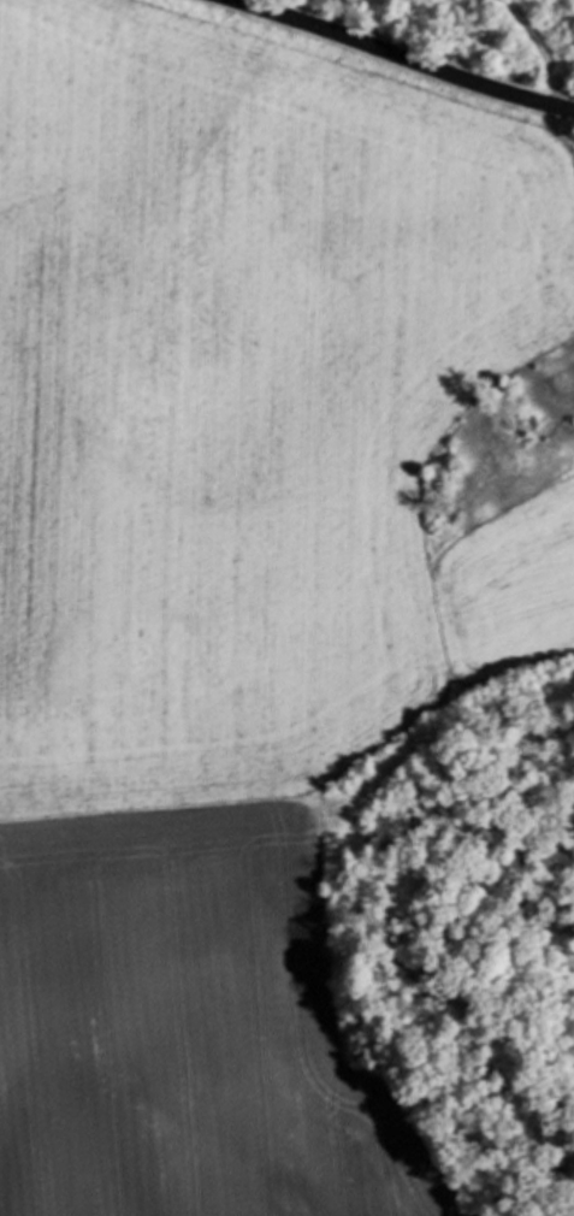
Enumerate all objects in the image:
road: (401, 57)

